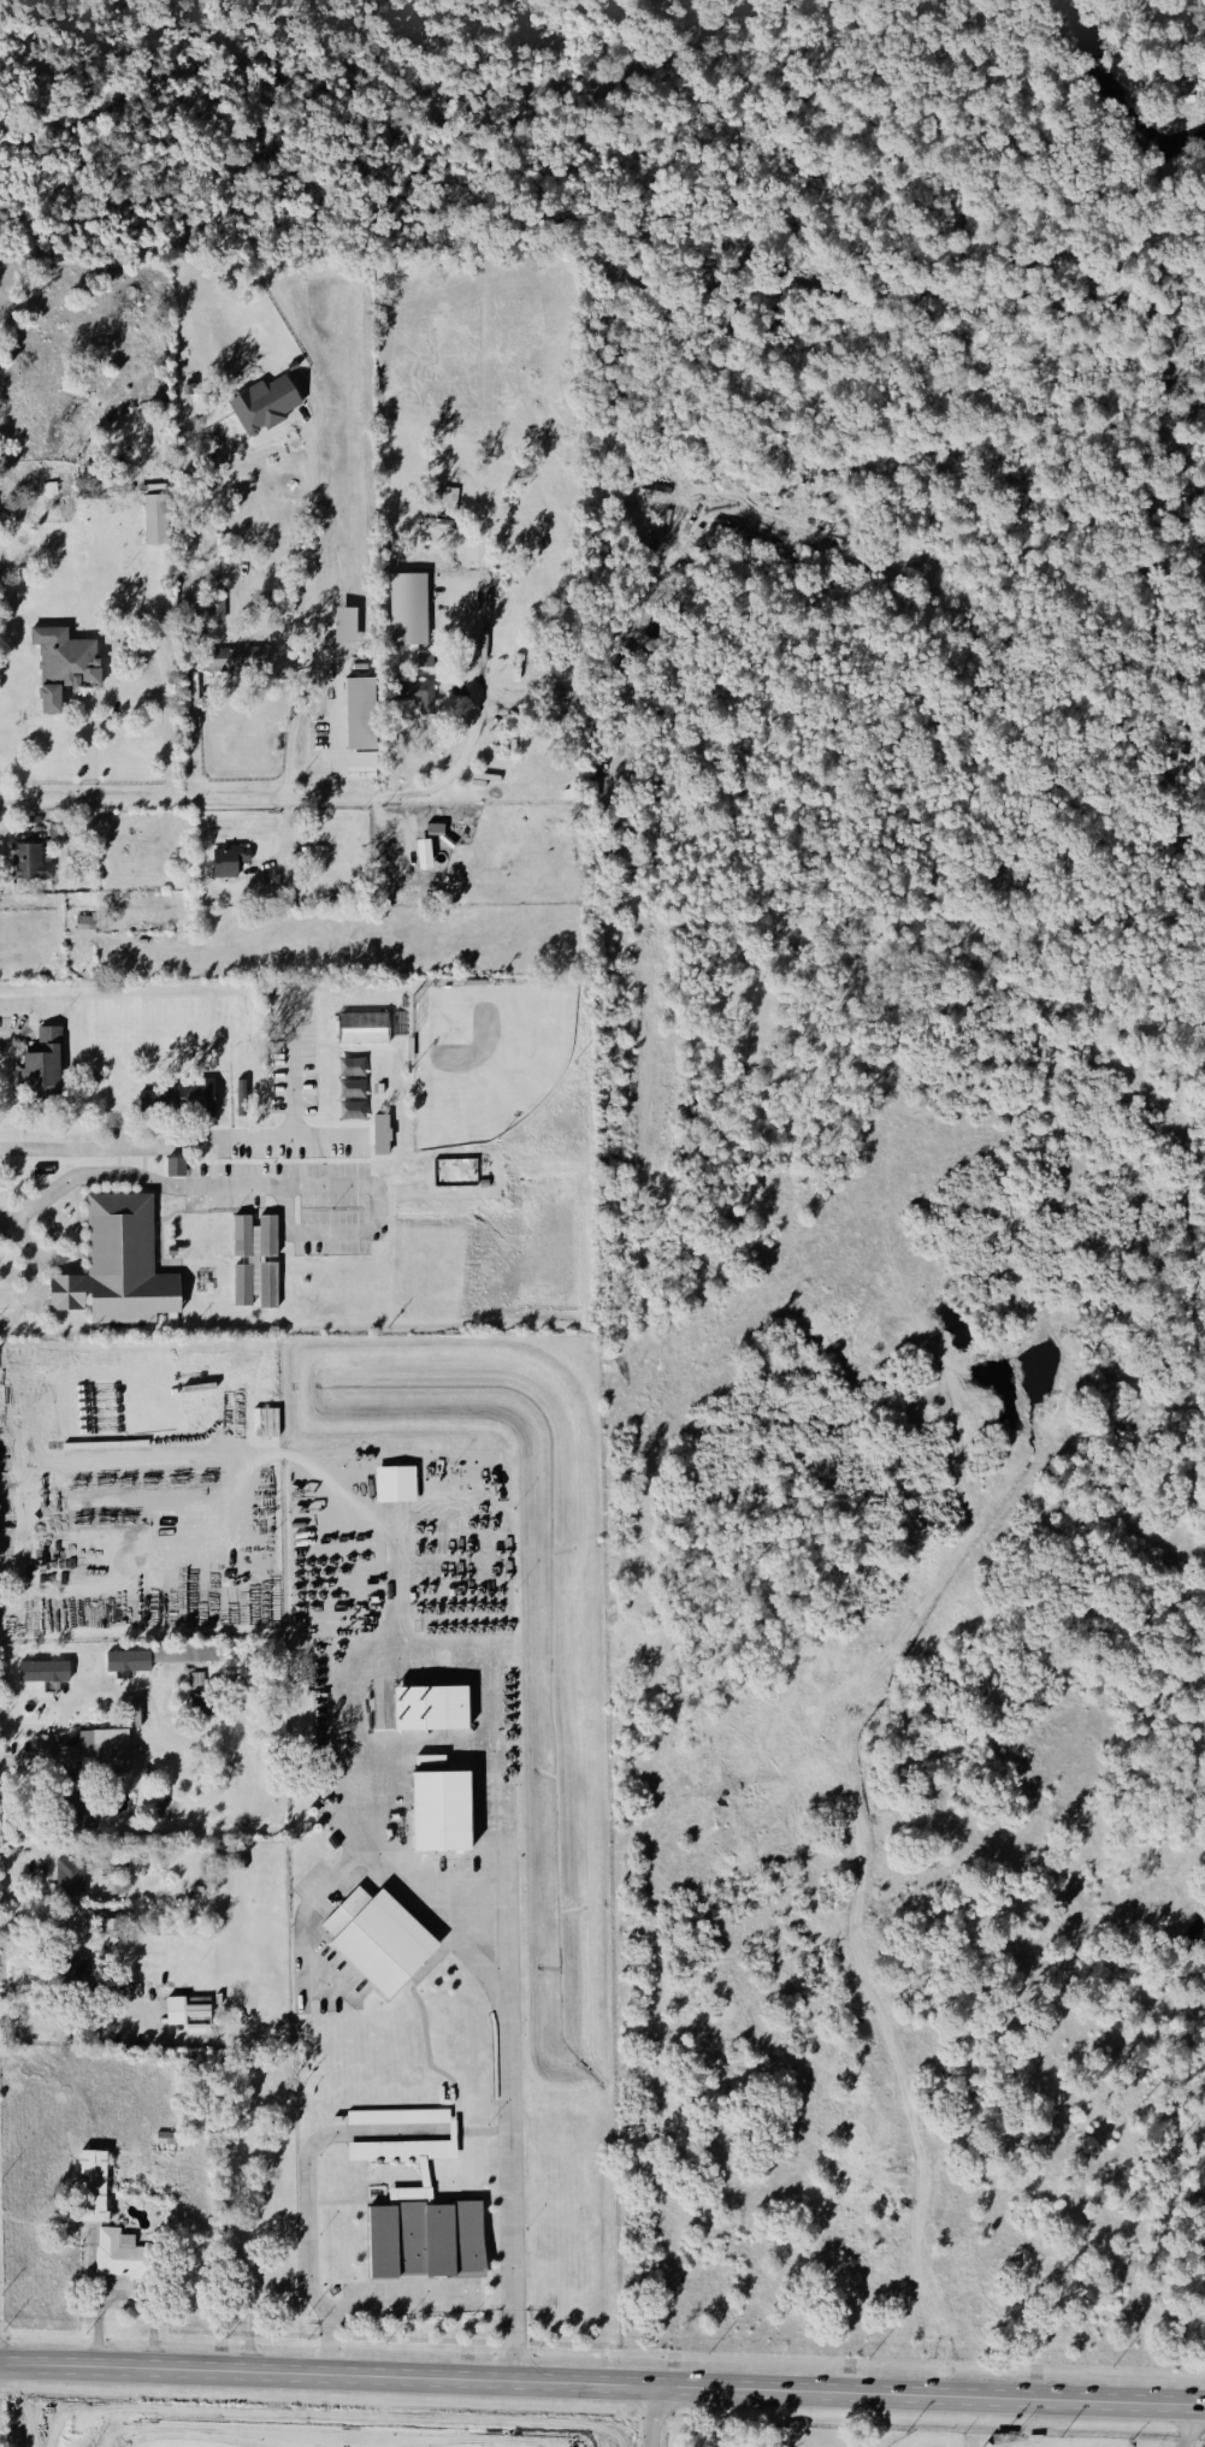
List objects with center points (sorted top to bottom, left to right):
river: (1120, 100)
park: (614, 154)
building: (261, 407)
building: (155, 520)
building: (407, 609)
building: (344, 625)
road: (308, 630)
building: (235, 660)
building: (60, 667)
building: (414, 698)
building: (360, 714)
road: (170, 720)
road: (468, 737)
road: (335, 757)
road: (193, 799)
building: (432, 832)
building: (421, 856)
building: (226, 862)
building: (28, 864)
road: (37, 946)
building: (361, 1030)
park: (485, 1057)
building: (39, 1068)
building: (379, 1089)
building: (240, 1098)
building: (173, 1099)
building: (380, 1134)
road: (212, 1141)
building: (175, 1166)
road: (143, 1175)
building: (483, 1184)
road: (385, 1229)
building: (254, 1260)
building: (118, 1265)
building: (395, 1483)
building: (182, 1655)
building: (128, 1661)
building: (42, 1672)
building: (430, 1708)
road: (37, 1762)
road: (348, 1802)
building: (439, 1811)
building: (306, 1828)
building: (333, 1842)
building: (70, 1876)
road: (12, 1891)
building: (383, 1944)
building: (183, 2011)
road: (84, 2019)
building: (398, 2117)
building: (171, 2138)
building: (397, 2151)
building: (89, 2188)
road: (308, 2199)
building: (123, 2223)
building: (421, 2238)
building: (116, 2256)
road: (128, 2299)
road: (403, 2305)
road: (242, 2335)
road: (602, 2383)
road: (652, 2416)
road: (1192, 2427)
park: (929, 2439)
park: (1067, 2441)

